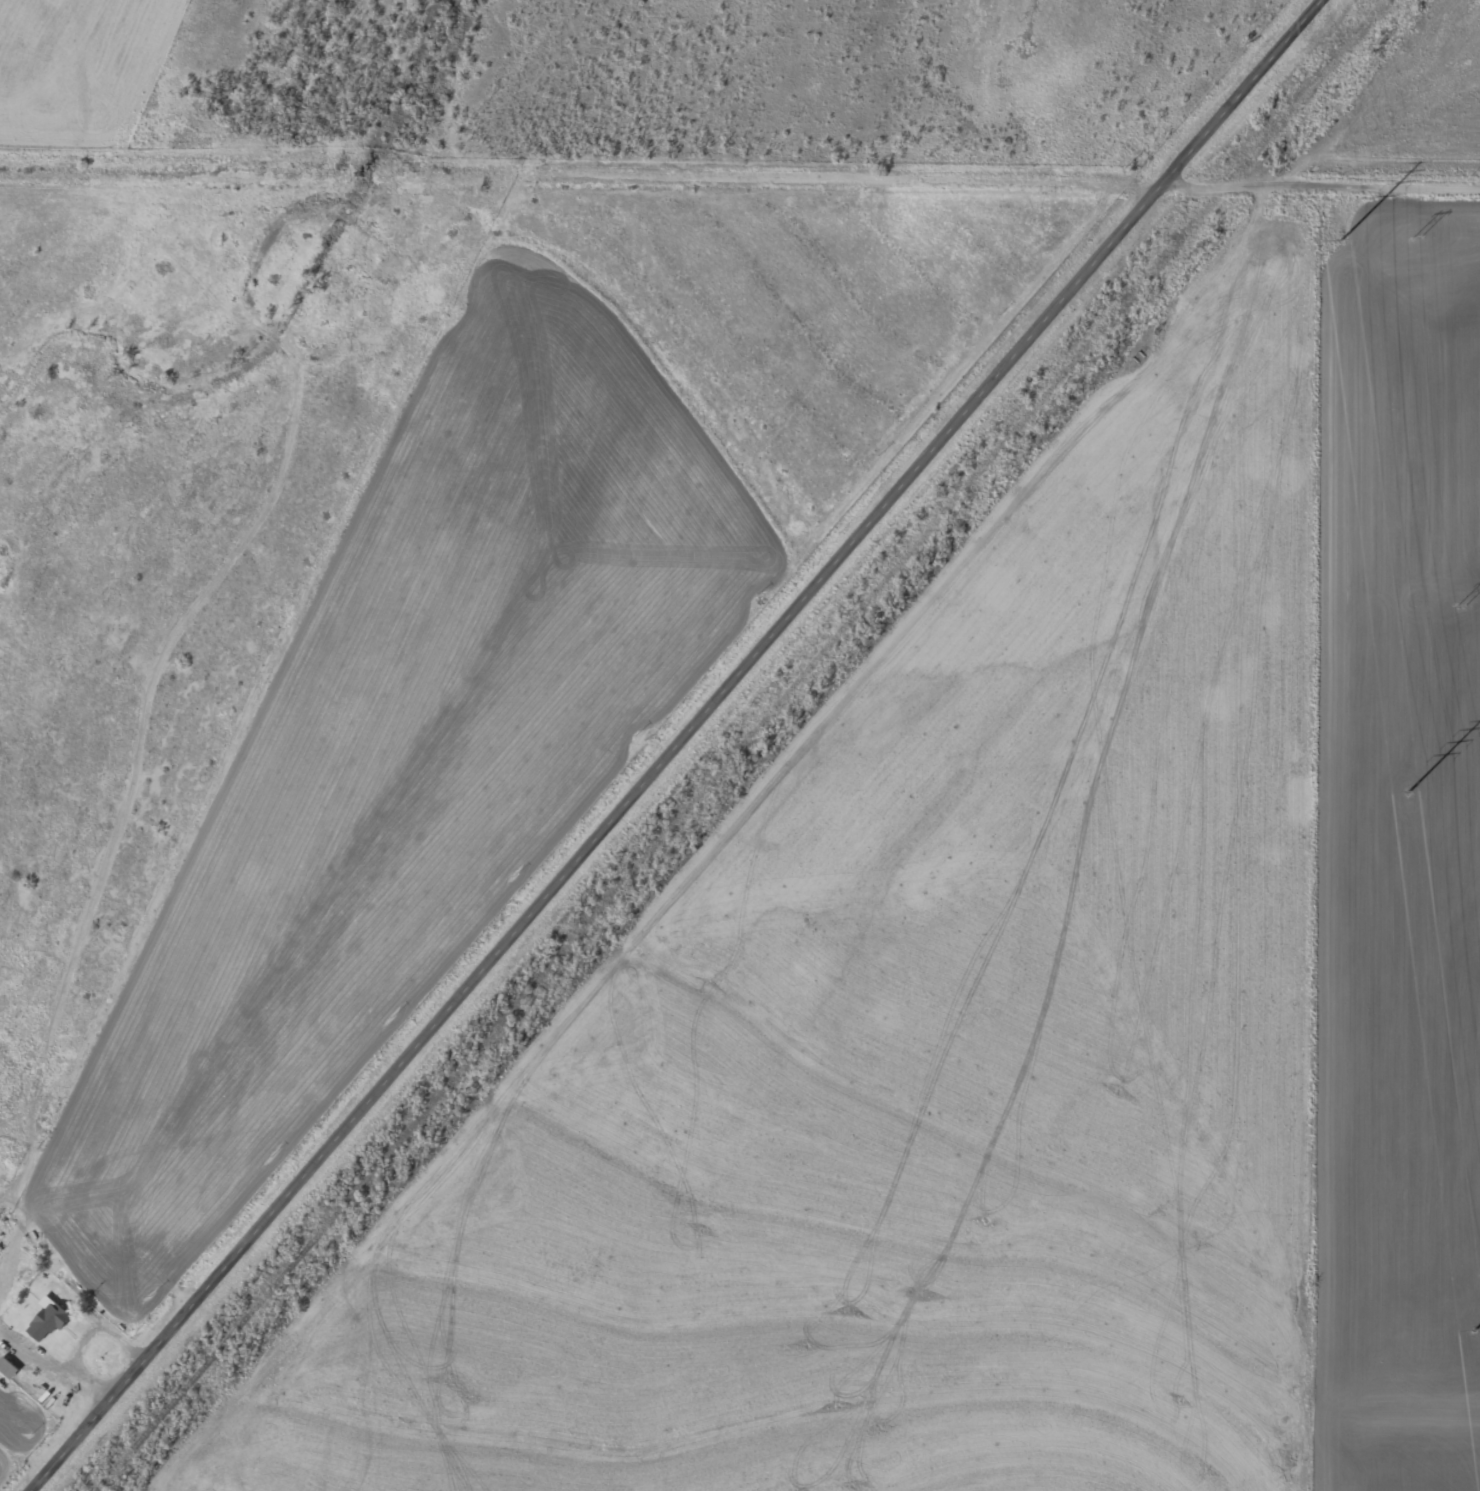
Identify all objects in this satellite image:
road: (1295, 180)
road: (1445, 182)
power tower: (1417, 235)
power tower: (1341, 240)
power tower: (1461, 604)
road: (689, 745)
railway: (738, 745)
power tower: (1409, 792)
building: (50, 1325)
power tower: (1475, 1330)

